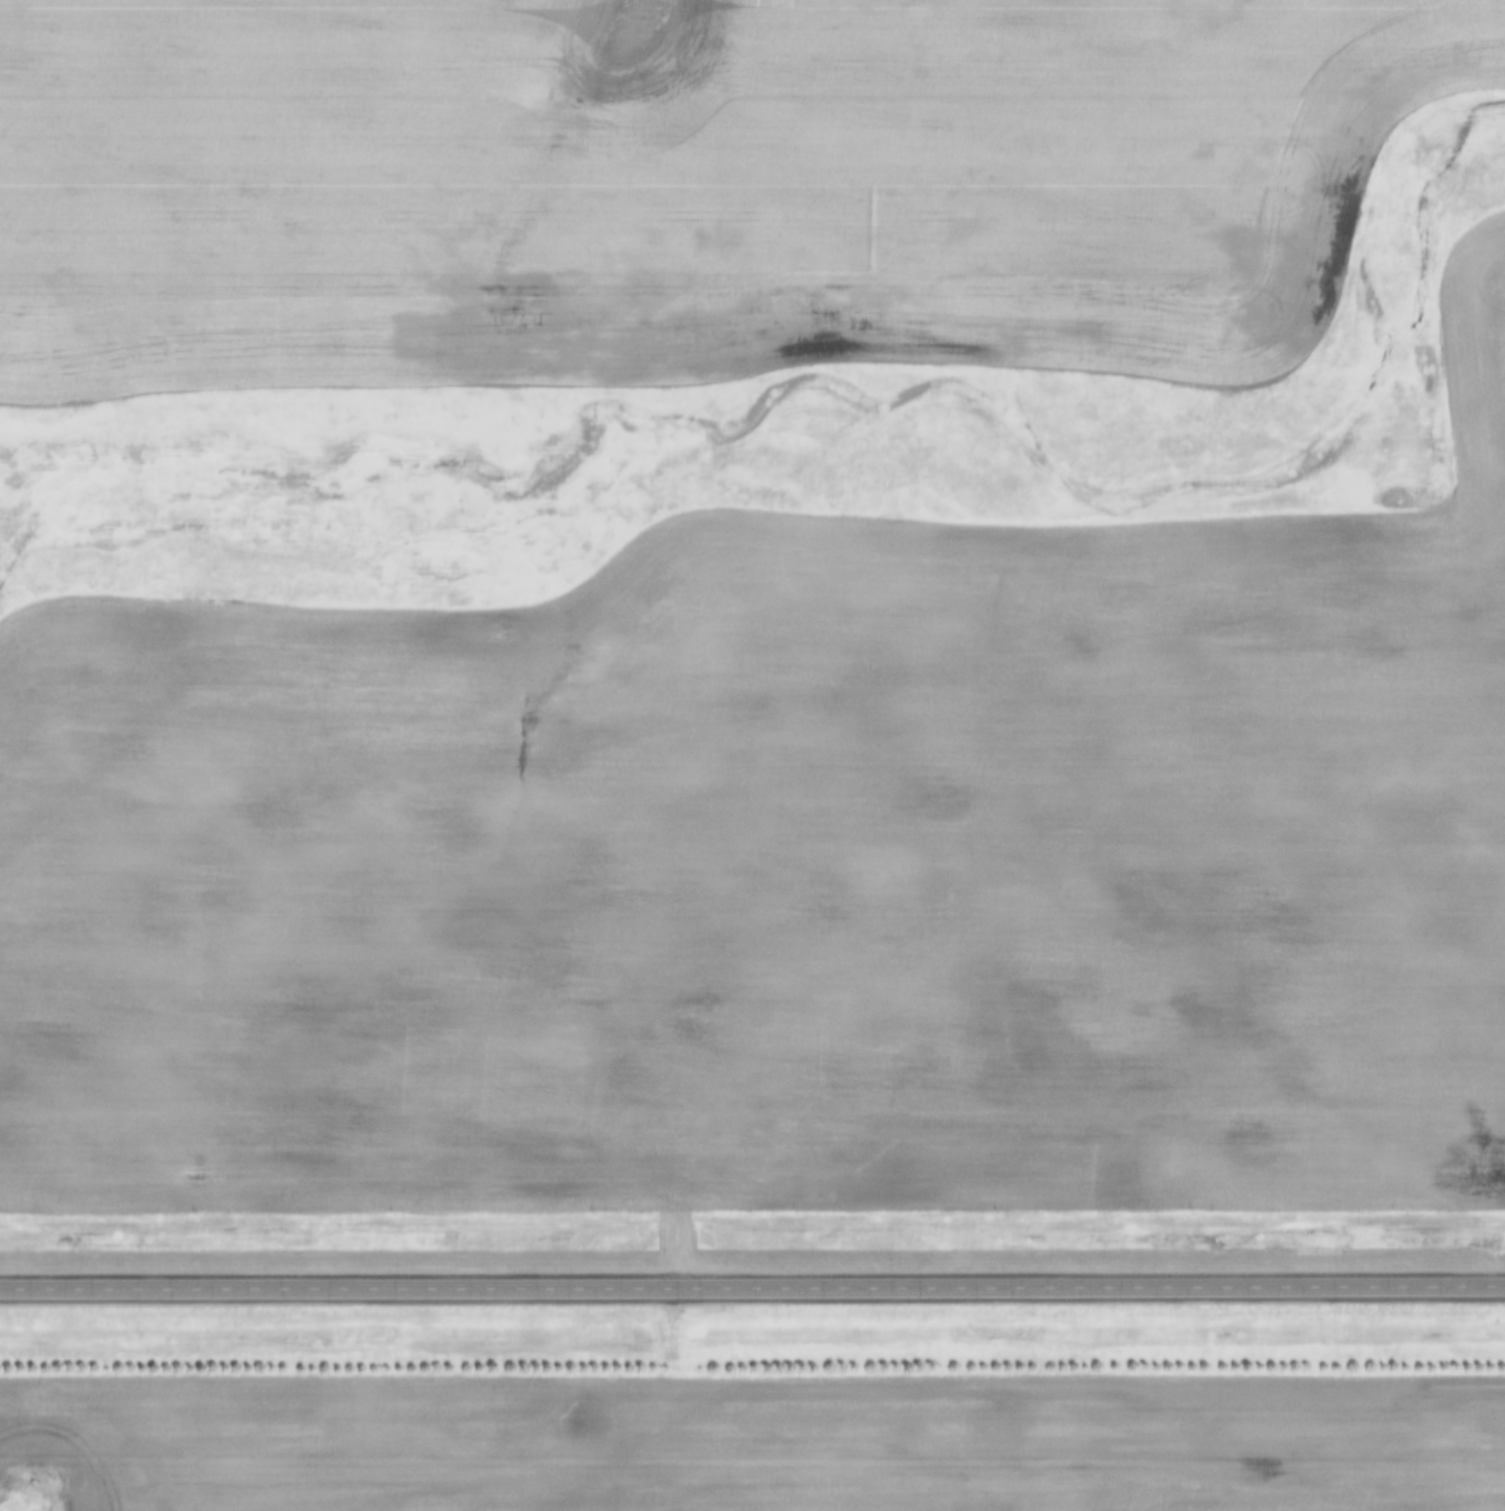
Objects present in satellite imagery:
road: (752, 1289)
road: (672, 1400)

